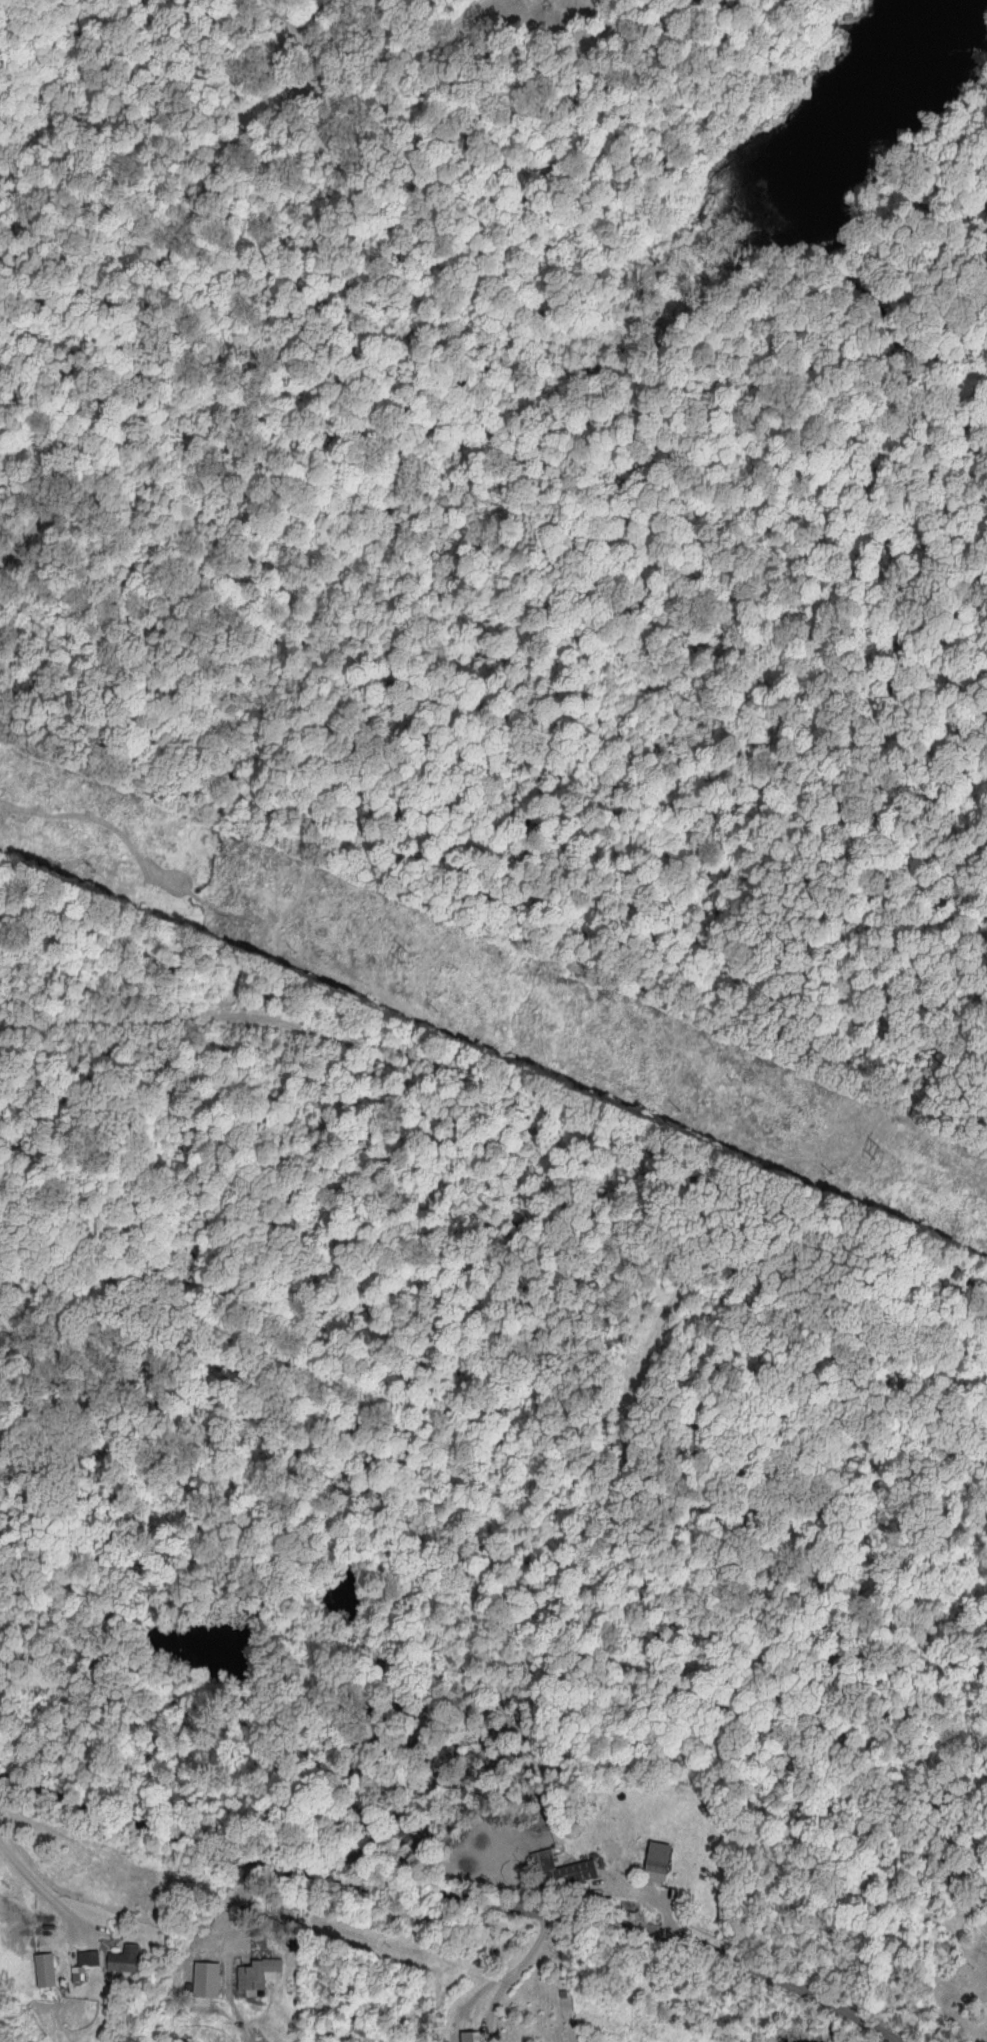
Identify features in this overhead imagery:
road: (183, 228)
power tower: (104, 868)
power tower: (411, 952)
power tower: (449, 1007)
power tower: (690, 1104)
power tower: (882, 1150)
power tower: (838, 1172)
building: (659, 1859)
building: (567, 1867)
road: (39, 1883)
road: (456, 1895)
road: (230, 1952)
building: (123, 1959)
building: (45, 1969)
building: (256, 1972)
road: (500, 1973)
building: (207, 1979)
building: (466, 2037)

